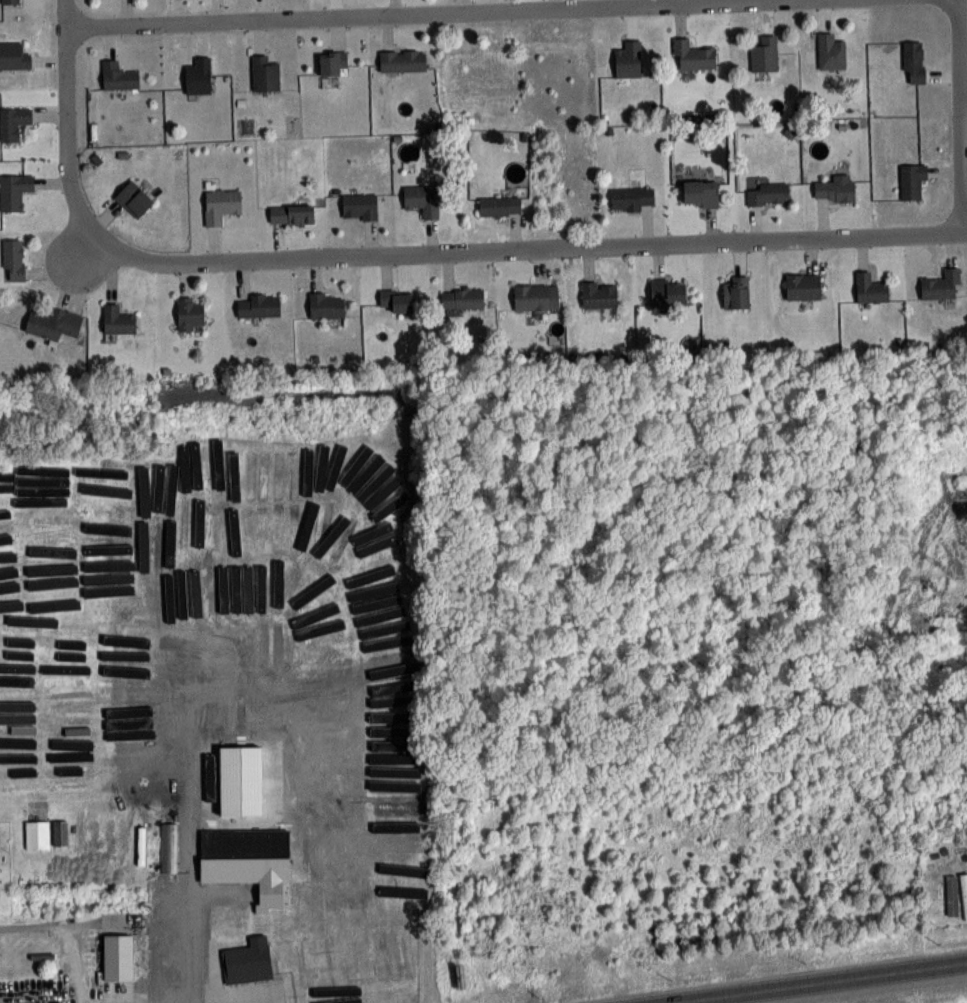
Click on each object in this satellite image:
building: (11, 1)
road: (420, 14)
building: (830, 51)
building: (764, 55)
building: (13, 56)
building: (692, 56)
building: (402, 60)
building: (628, 60)
building: (913, 61)
building: (332, 62)
building: (265, 73)
building: (118, 75)
building: (198, 75)
road: (956, 115)
building: (13, 122)
road: (64, 128)
building: (912, 181)
building: (835, 189)
building: (14, 190)
building: (700, 193)
building: (768, 194)
building: (134, 198)
building: (631, 198)
building: (422, 199)
building: (221, 204)
building: (360, 205)
building: (500, 205)
building: (291, 214)
road: (518, 247)
building: (14, 258)
building: (941, 285)
building: (803, 286)
building: (870, 288)
building: (667, 292)
building: (735, 293)
building: (599, 294)
building: (462, 297)
building: (531, 298)
building: (395, 300)
building: (258, 304)
building: (327, 305)
building: (189, 314)
building: (118, 319)
building: (54, 323)
building: (242, 466)
building: (268, 470)
building: (292, 489)
building: (331, 510)
building: (373, 553)
building: (132, 679)
building: (144, 712)
building: (142, 739)
building: (57, 833)
building: (34, 835)
building: (165, 847)
building: (246, 862)
building: (964, 893)
building: (952, 895)
building: (171, 904)
road: (67, 932)
building: (114, 958)
road: (187, 962)
building: (244, 962)
road: (805, 981)
road: (174, 1000)

